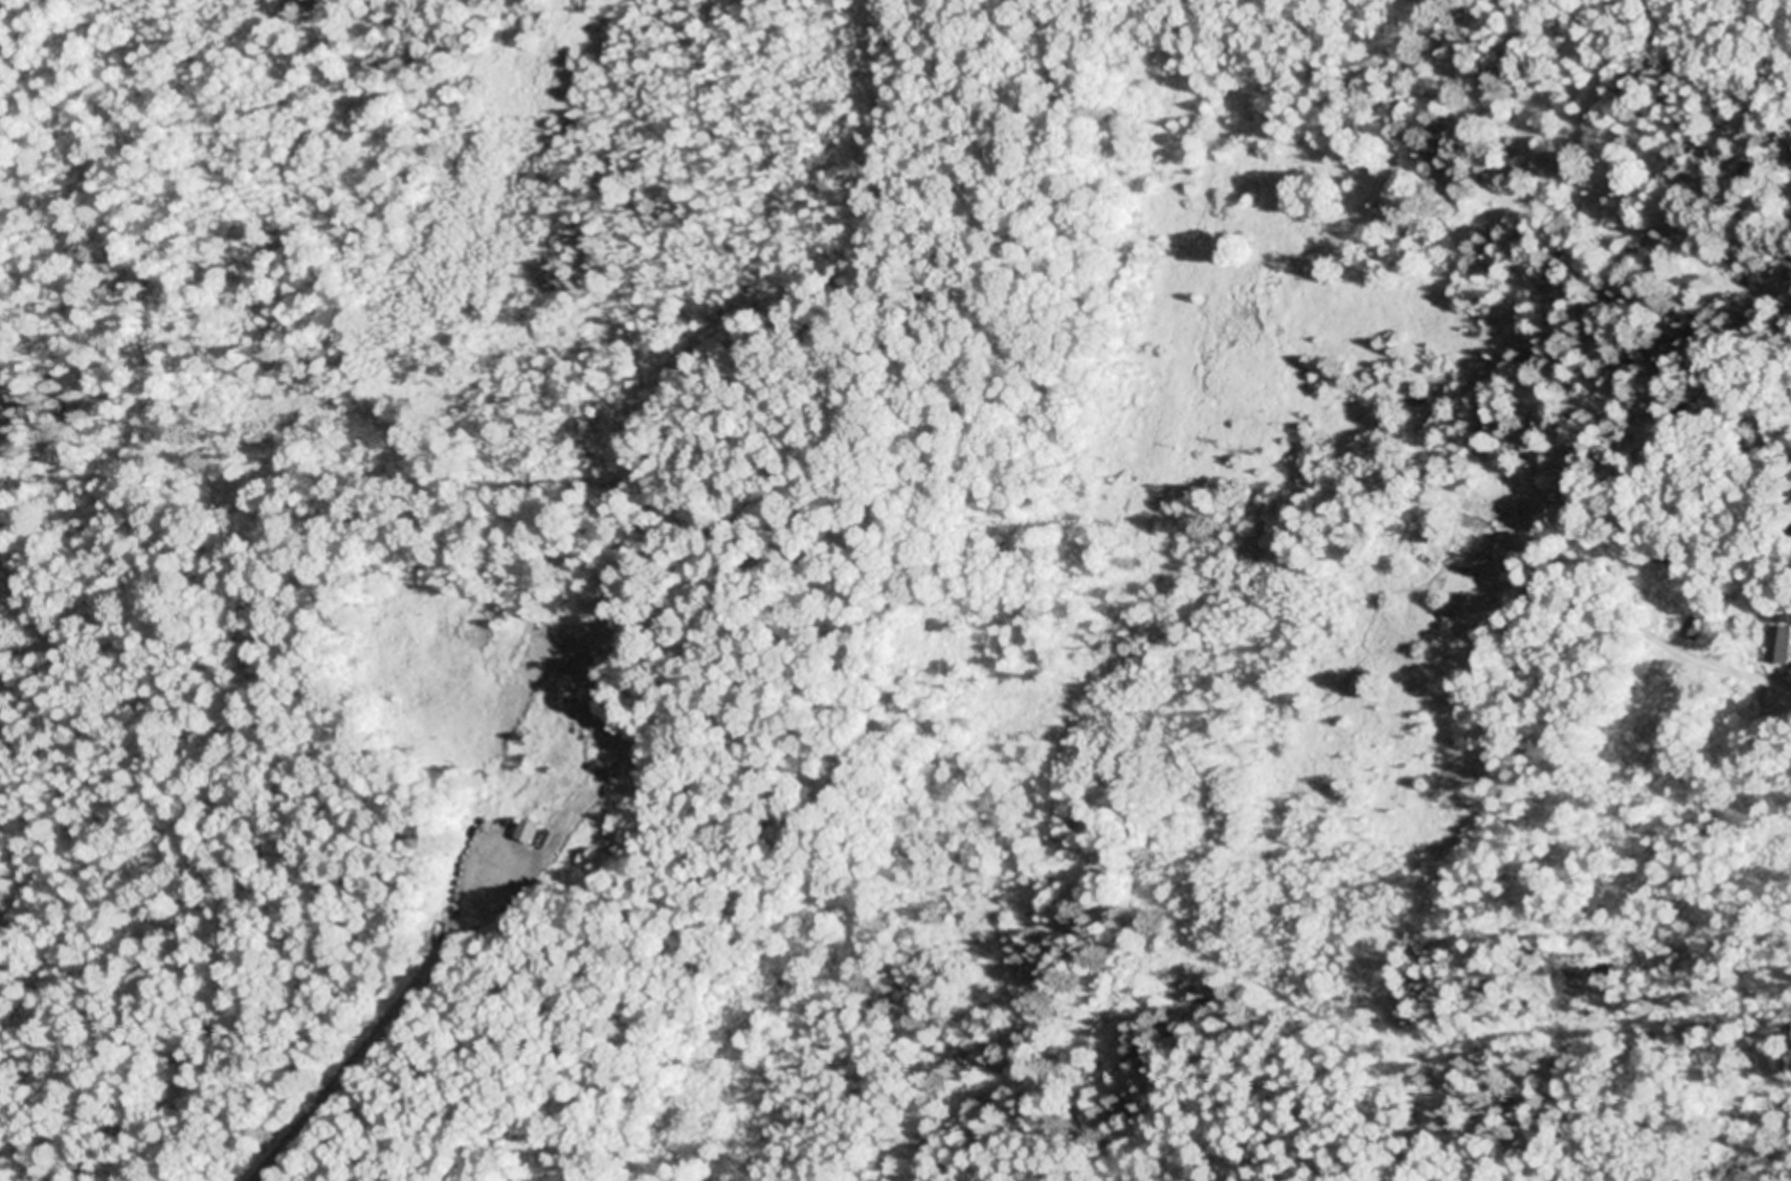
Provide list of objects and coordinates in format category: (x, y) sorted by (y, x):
road: (1400, 83)
building: (1696, 626)
building: (1780, 644)
landfill: (524, 742)
road: (369, 1053)

